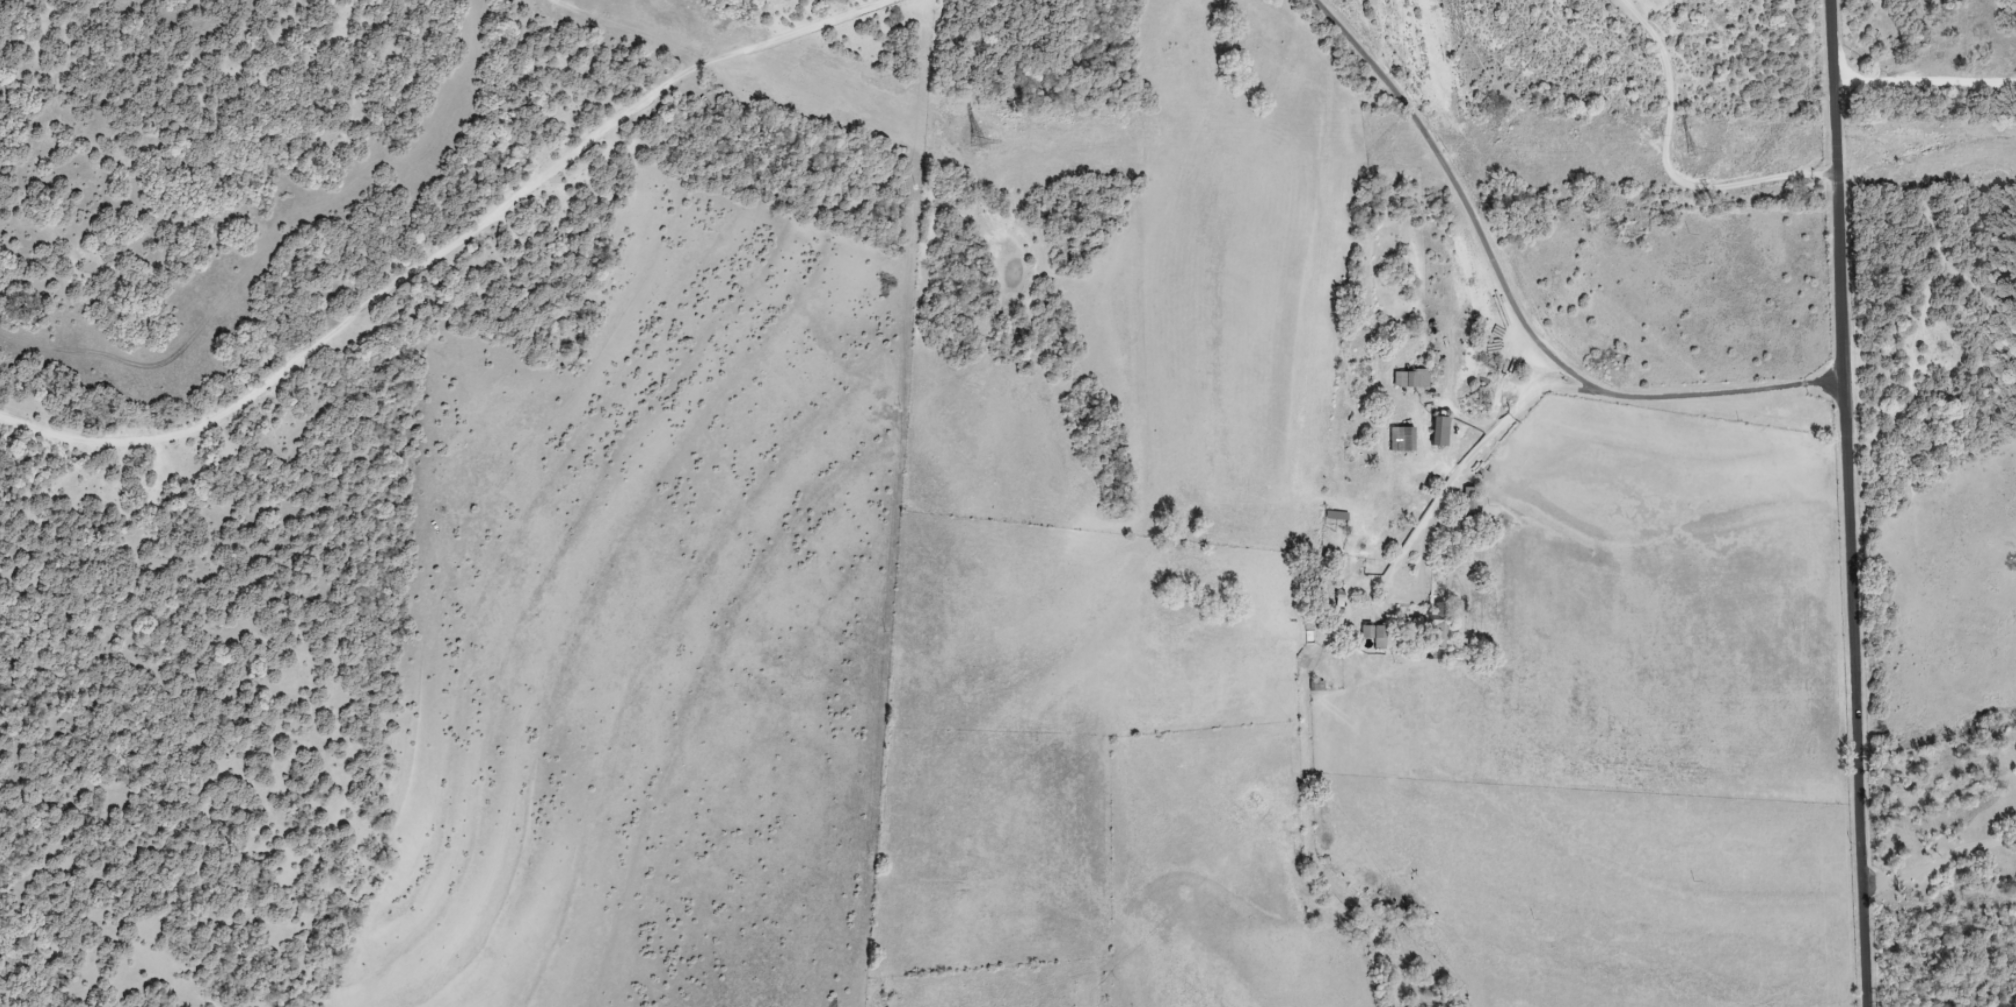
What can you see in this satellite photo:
power tower: (976, 143)
power tower: (1689, 153)
road: (1670, 164)
road: (448, 249)
road: (1514, 305)
building: (1411, 379)
building: (1439, 432)
building: (1401, 440)
road: (1848, 503)
building: (1336, 517)
building: (1438, 628)
building: (1371, 633)
road: (1315, 647)

